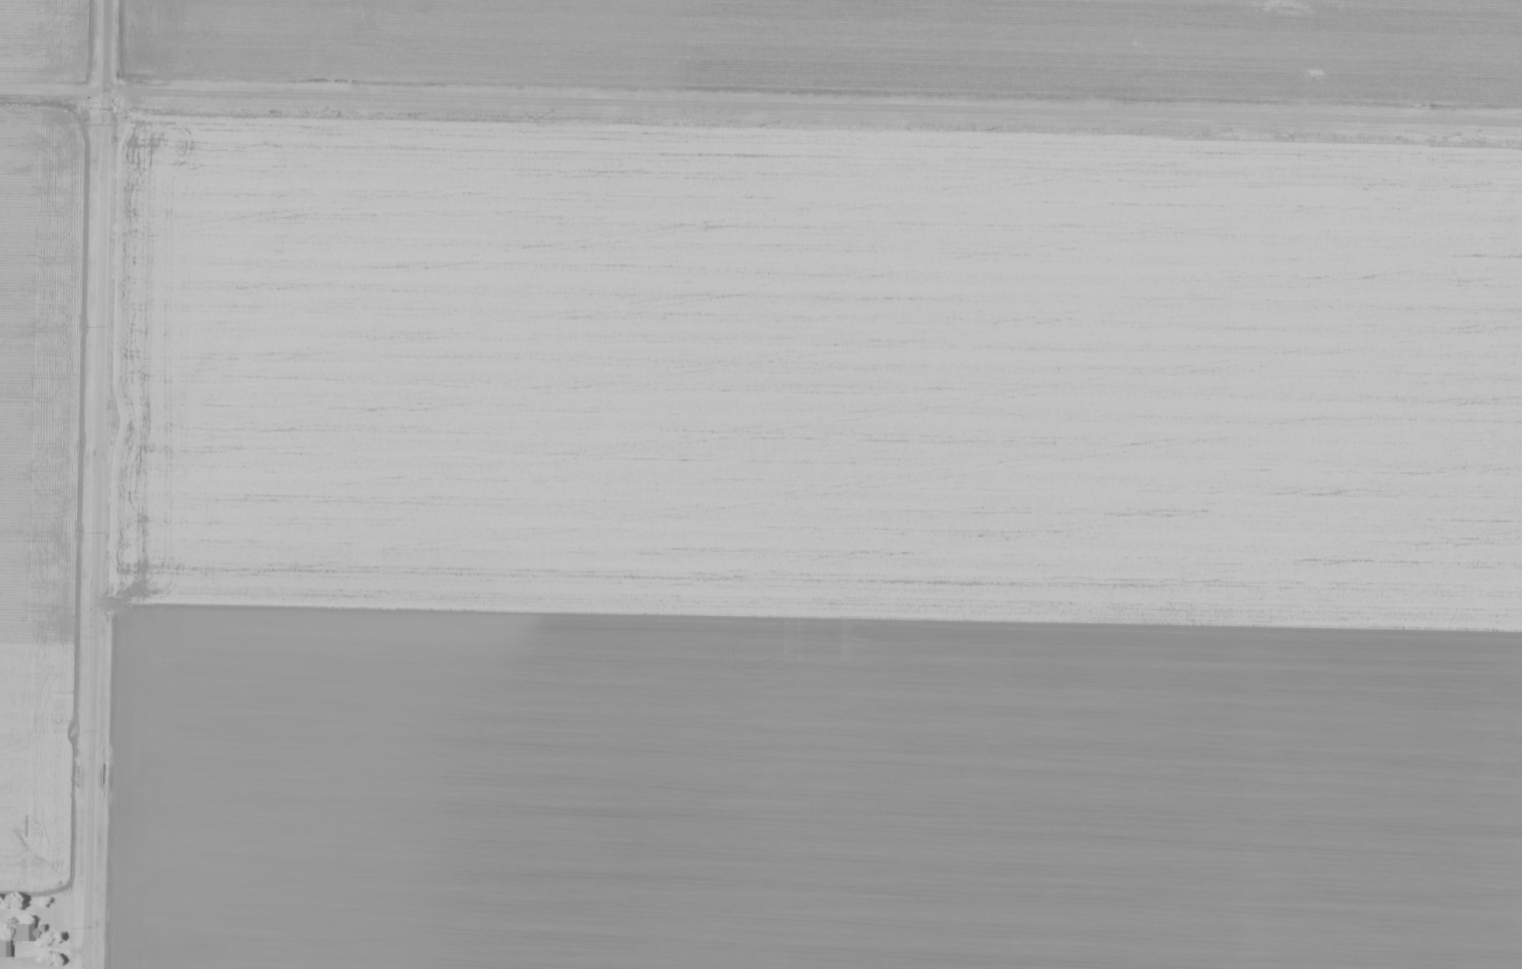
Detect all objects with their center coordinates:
road: (760, 106)
road: (89, 484)
building: (20, 932)
building: (2, 948)

